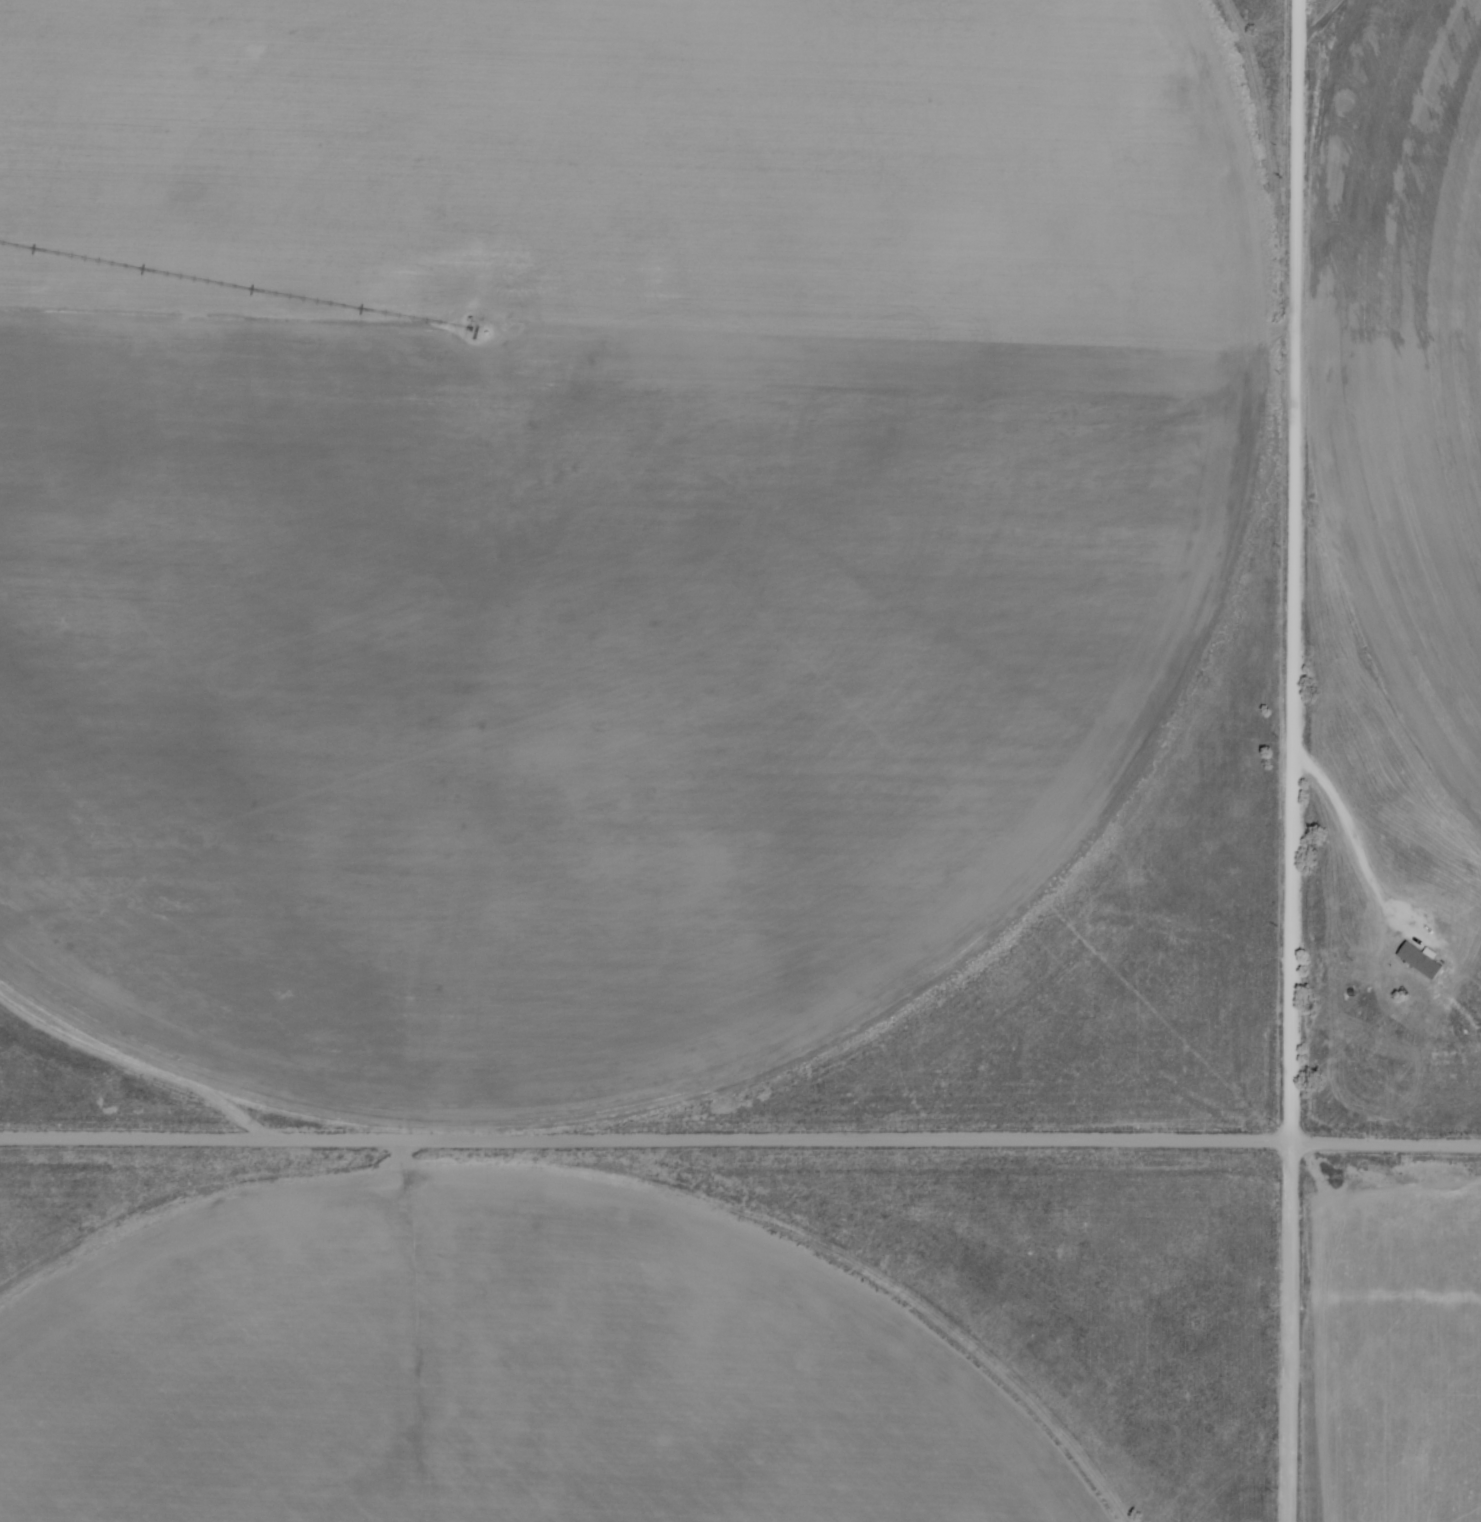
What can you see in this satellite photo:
road: (1298, 572)
building: (1420, 962)
road: (740, 1143)
road: (1292, 1333)

